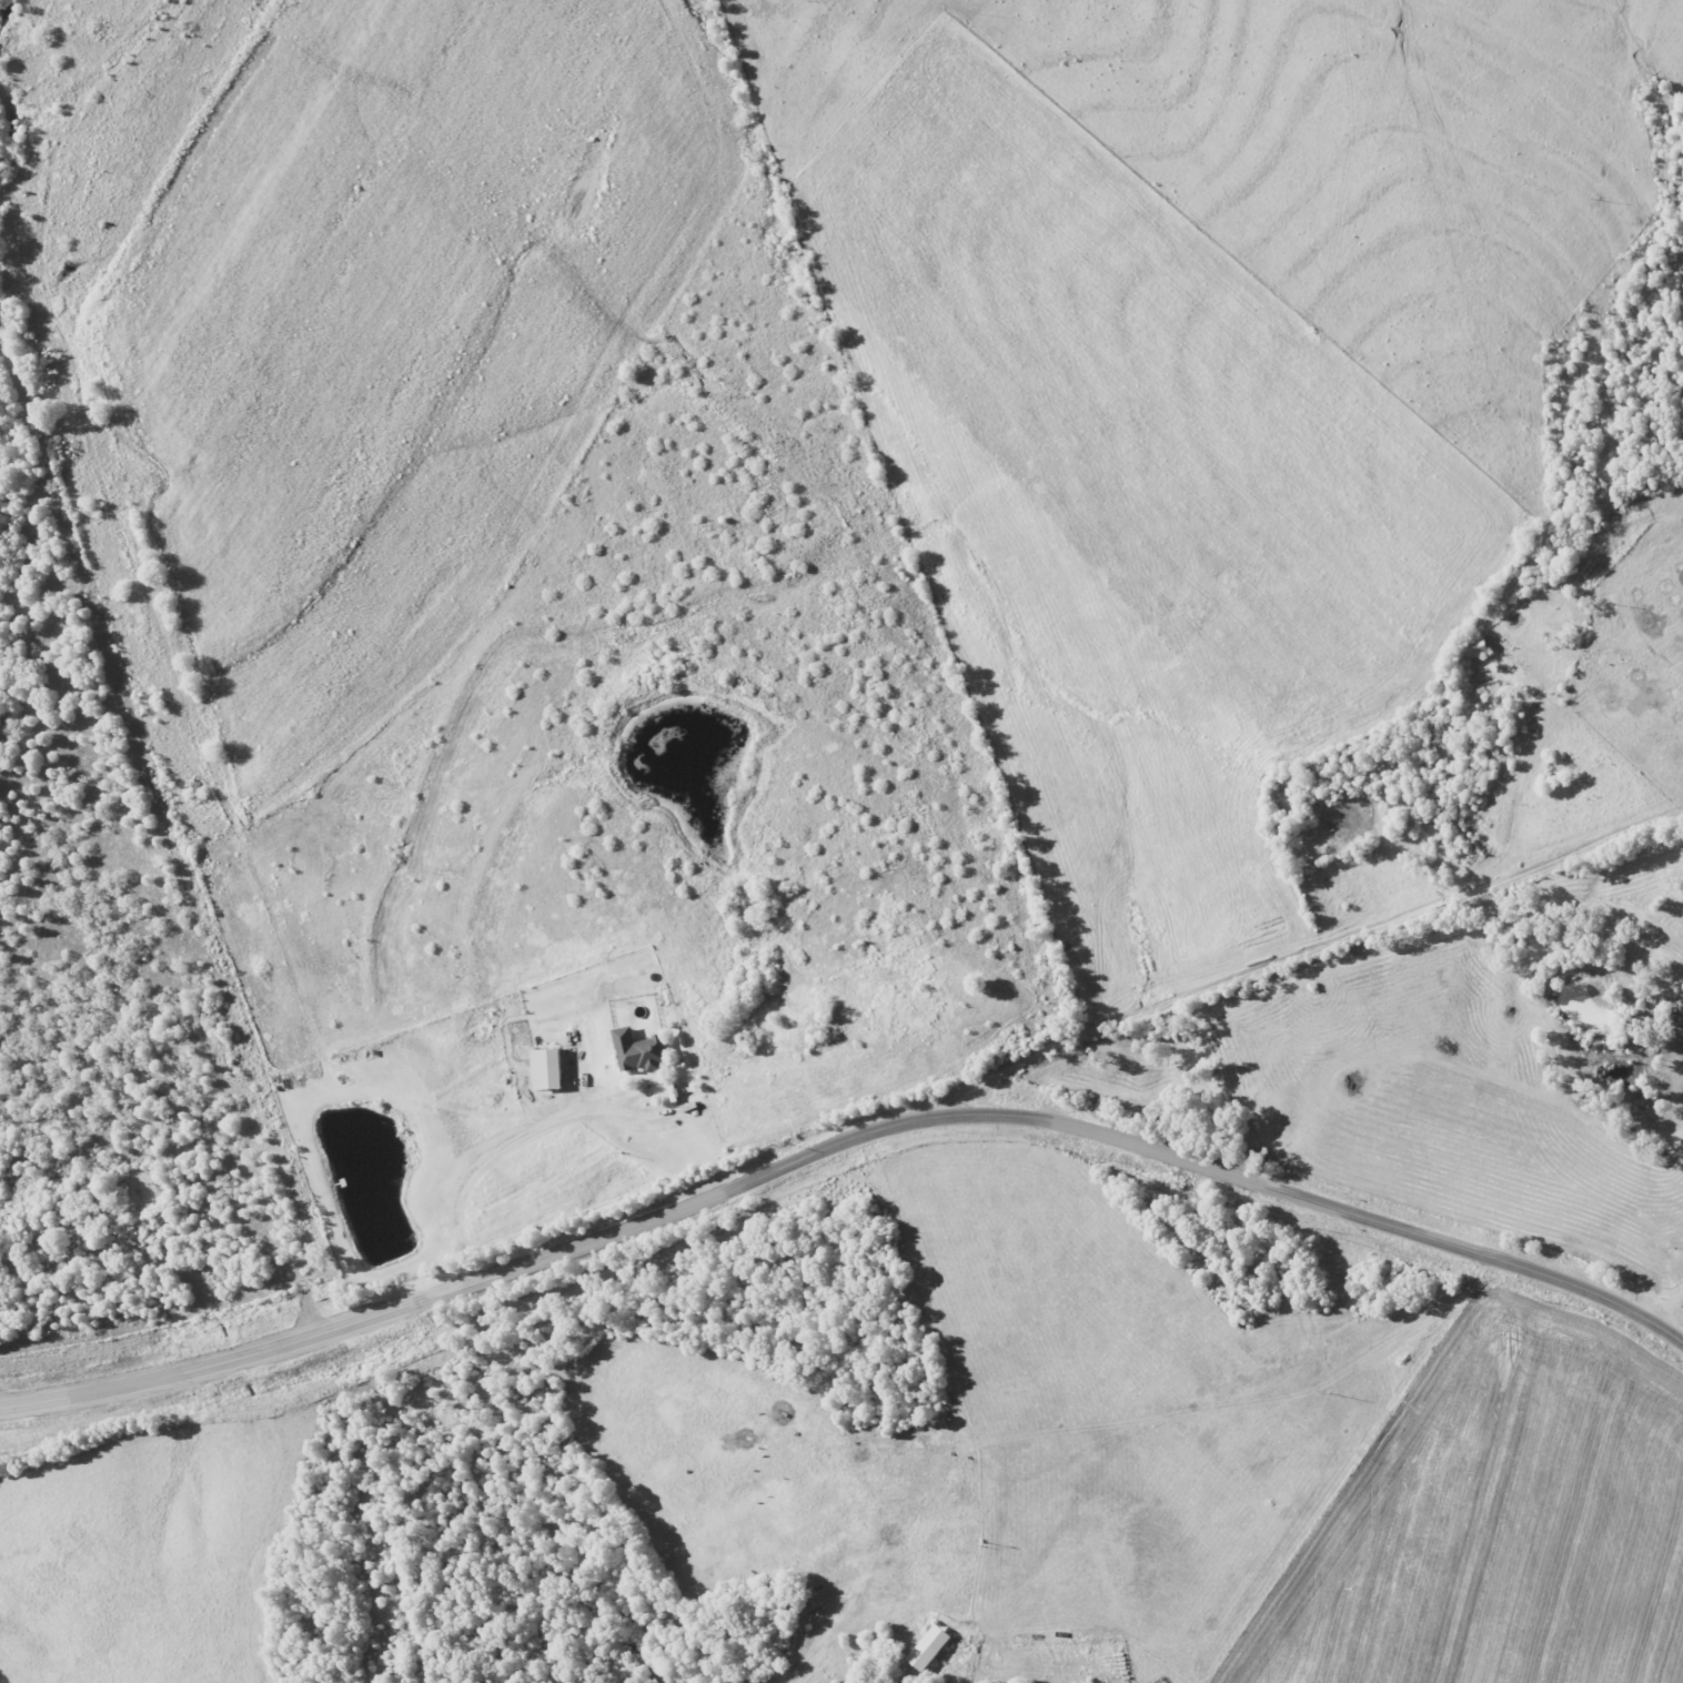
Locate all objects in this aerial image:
road: (1332, 958)
building: (643, 1050)
building: (552, 1068)
road: (548, 1133)
road: (840, 1142)
road: (1671, 1309)
road: (1202, 1408)
road: (899, 1589)

